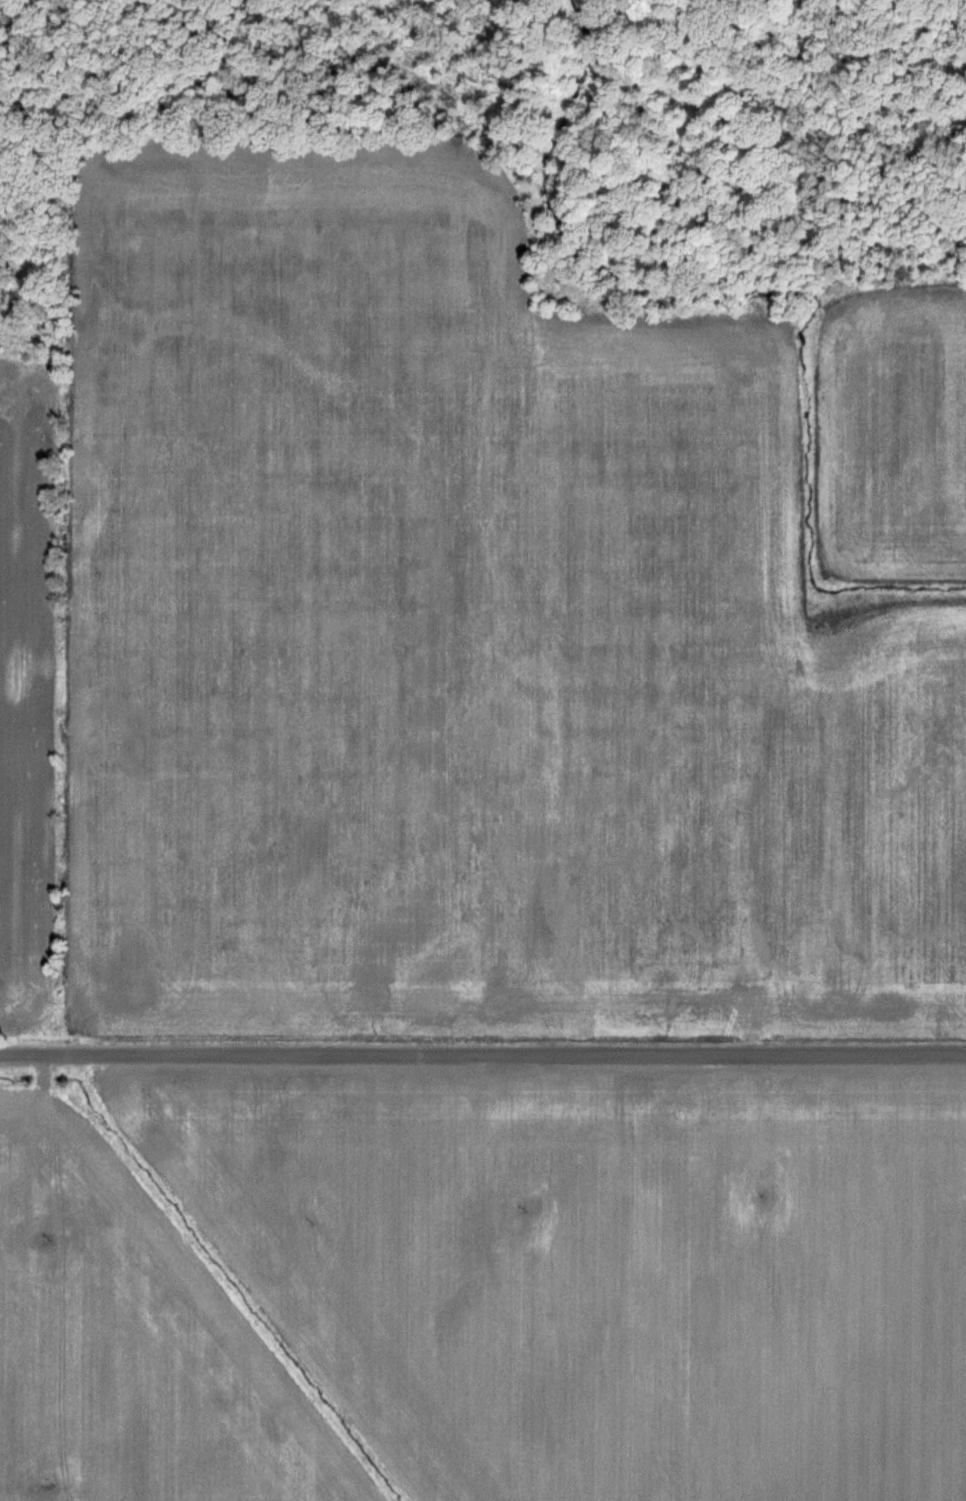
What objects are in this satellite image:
road: (482, 1056)
road: (50, 1113)

